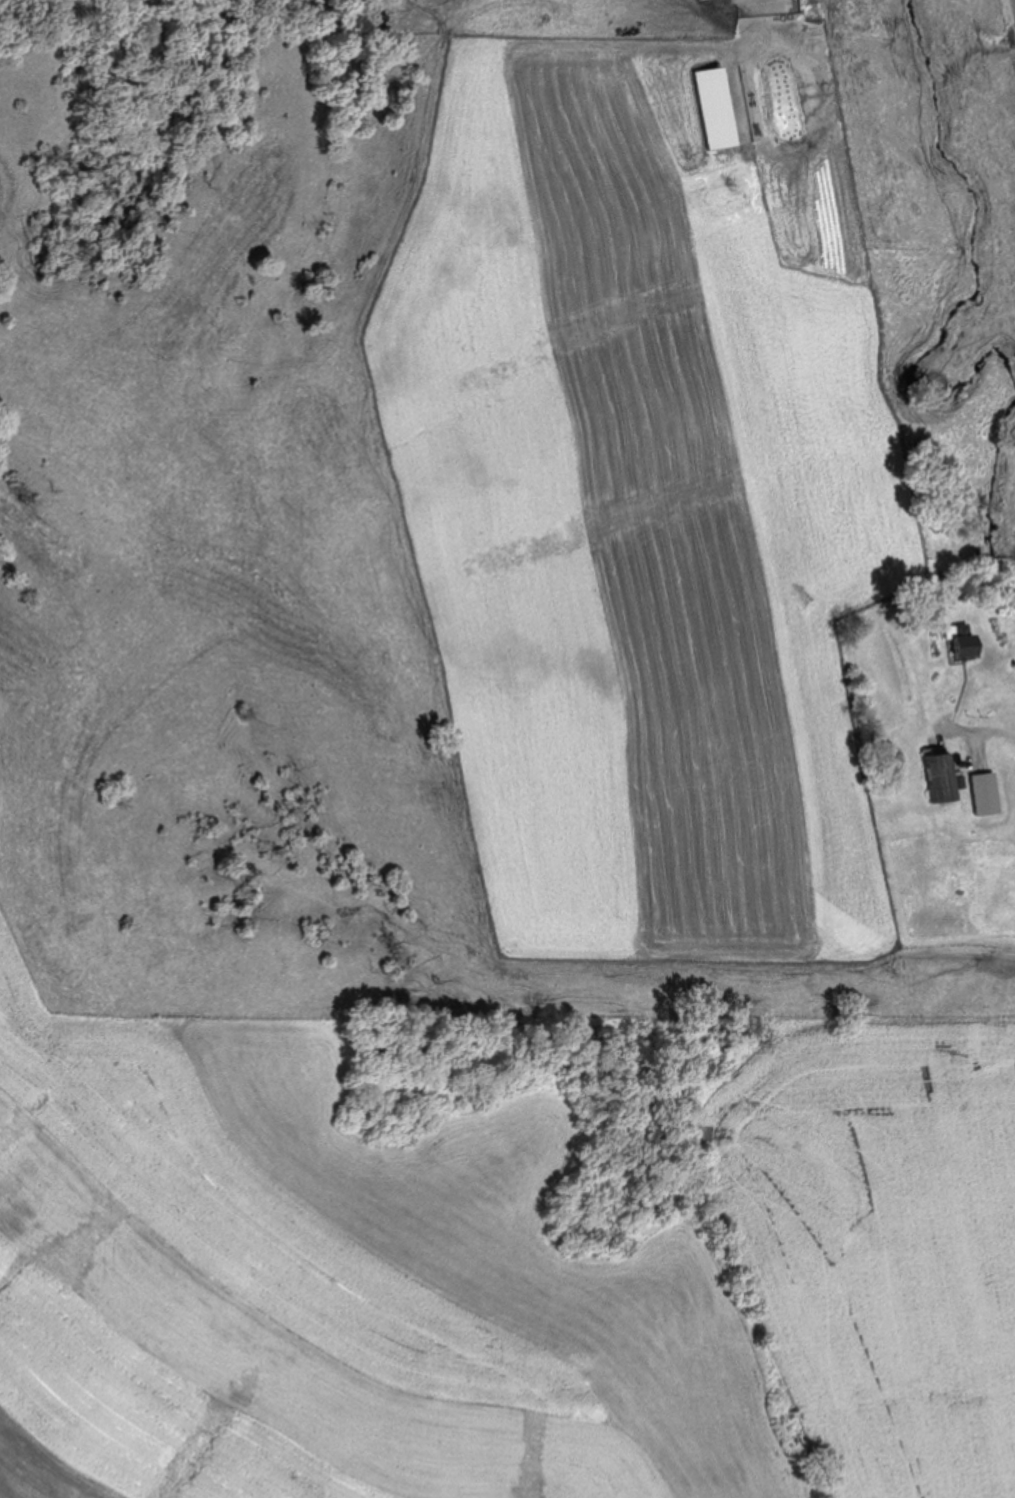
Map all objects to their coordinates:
road: (1014, 2)
building: (797, 75)
building: (955, 631)
building: (965, 650)
road: (994, 735)
building: (940, 776)

